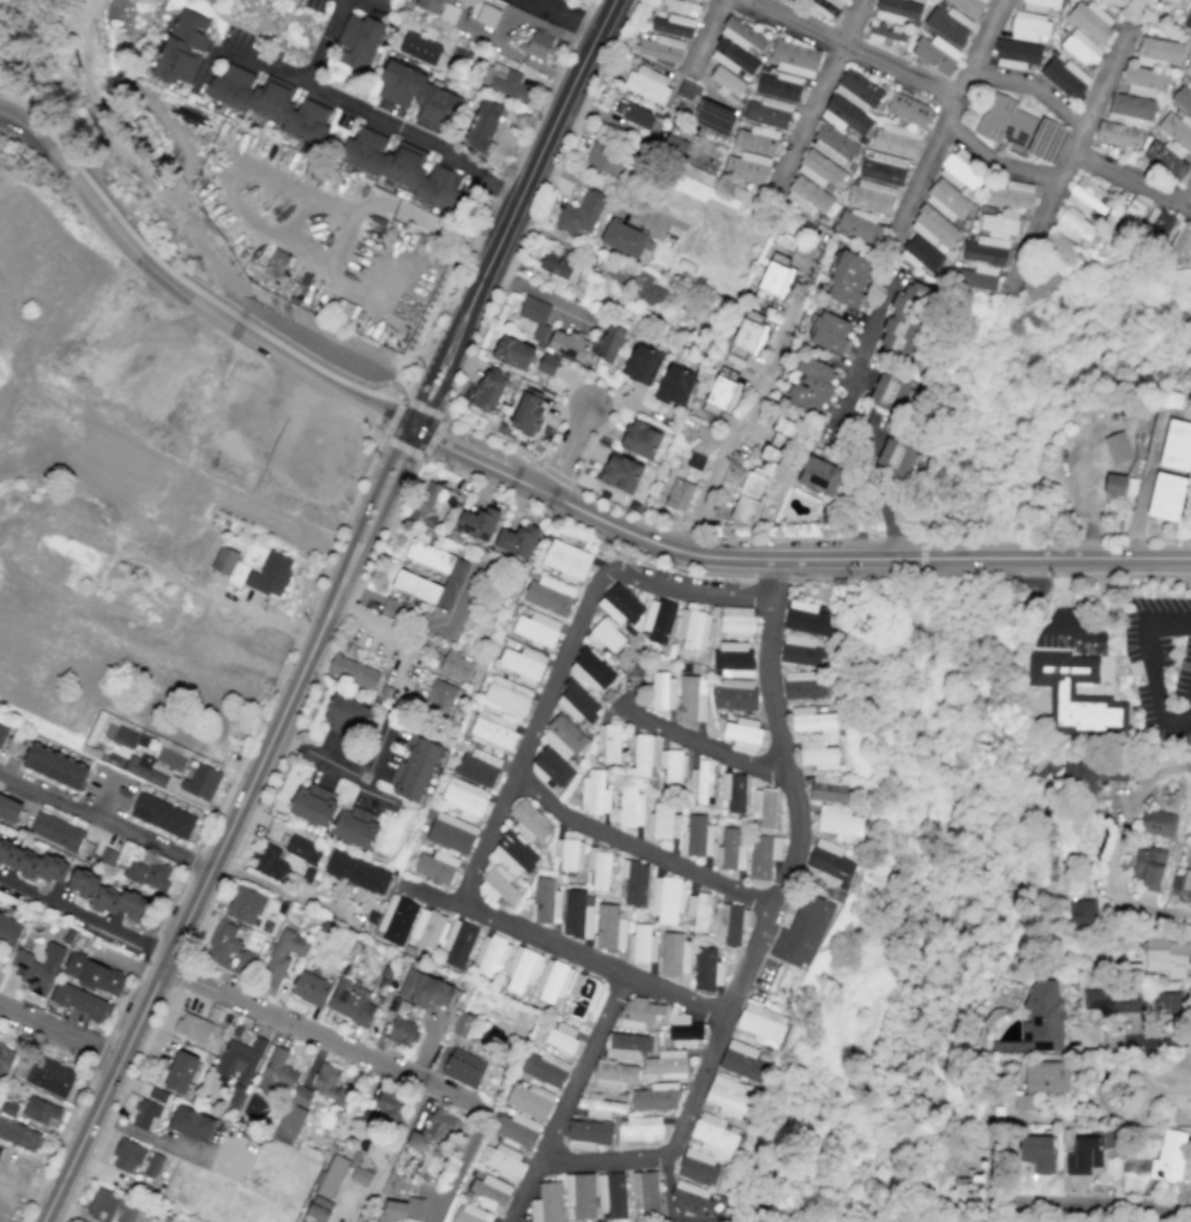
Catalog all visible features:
building: (385, 0)
building: (431, 5)
road: (560, 5)
building: (1039, 5)
building: (824, 6)
building: (968, 6)
building: (680, 7)
parking lot: (542, 8)
building: (896, 10)
building: (449, 12)
road: (566, 14)
building: (1090, 20)
building: (1187, 23)
building: (949, 24)
building: (674, 25)
road: (500, 28)
building: (1029, 28)
road: (706, 32)
building: (883, 32)
building: (742, 35)
road: (325, 41)
building: (359, 42)
building: (537, 44)
road: (850, 46)
building: (182, 47)
building: (1081, 47)
building: (420, 48)
building: (660, 49)
building: (1159, 52)
building: (936, 54)
building: (1016, 54)
building: (734, 58)
building: (795, 59)
road: (13, 70)
building: (1186, 71)
building: (1065, 78)
road: (819, 80)
building: (504, 82)
building: (1144, 82)
building: (648, 84)
building: (727, 84)
building: (780, 86)
road: (1037, 88)
road: (1102, 88)
building: (858, 90)
building: (417, 96)
building: (1183, 98)
road: (20, 101)
building: (270, 103)
road: (350, 104)
road: (946, 104)
building: (1131, 106)
road: (1, 109)
building: (908, 109)
building: (769, 113)
building: (634, 114)
building: (846, 115)
building: (714, 118)
building: (1121, 119)
building: (1004, 121)
building: (483, 126)
building: (1175, 130)
building: (1118, 134)
building: (756, 139)
building: (896, 140)
building: (1047, 140)
building: (676, 144)
building: (834, 144)
road: (545, 145)
building: (604, 158)
building: (1165, 158)
road: (998, 164)
building: (401, 168)
building: (746, 168)
building: (820, 169)
building: (883, 169)
building: (960, 173)
road: (1137, 183)
road: (607, 191)
building: (705, 194)
building: (1012, 194)
building: (870, 195)
building: (811, 198)
building: (1088, 198)
road: (494, 200)
building: (946, 200)
road: (540, 210)
building: (581, 213)
building: (1129, 218)
road: (420, 219)
building: (998, 223)
building: (858, 224)
road: (1035, 224)
building: (1156, 225)
building: (1077, 227)
building: (933, 228)
building: (624, 237)
building: (1180, 242)
building: (1059, 249)
building: (985, 251)
building: (920, 254)
building: (557, 261)
building: (978, 277)
road: (178, 278)
building: (775, 278)
building: (848, 279)
building: (1040, 282)
building: (637, 284)
road: (200, 288)
road: (181, 295)
building: (535, 315)
building: (904, 318)
building: (829, 332)
building: (746, 341)
building: (608, 343)
building: (569, 344)
building: (512, 353)
road: (437, 356)
road: (452, 363)
building: (547, 365)
building: (642, 365)
building: (675, 385)
building: (811, 386)
building: (488, 390)
building: (891, 391)
building: (722, 392)
road: (759, 399)
building: (528, 411)
road: (443, 419)
road: (859, 420)
road: (413, 428)
building: (640, 439)
building: (777, 441)
building: (1177, 445)
building: (1117, 447)
road: (570, 452)
road: (474, 458)
building: (896, 458)
building: (694, 460)
building: (620, 472)
road: (554, 474)
building: (819, 476)
building: (1114, 484)
road: (1144, 486)
road: (583, 494)
building: (679, 494)
building: (748, 496)
building: (1166, 496)
road: (369, 502)
building: (425, 504)
road: (383, 508)
building: (477, 523)
building: (517, 540)
road: (973, 543)
road: (1093, 543)
building: (429, 555)
road: (972, 558)
road: (1093, 558)
road: (730, 559)
road: (921, 559)
building: (223, 560)
building: (566, 560)
road: (674, 567)
road: (1093, 573)
building: (270, 574)
road: (972, 574)
building: (451, 584)
building: (416, 586)
road: (1063, 594)
building: (549, 595)
building: (620, 604)
road: (259, 613)
building: (805, 618)
building: (658, 620)
building: (736, 622)
road: (432, 624)
building: (536, 628)
building: (692, 628)
road: (1069, 631)
parking lot: (1069, 632)
building: (604, 636)
road: (290, 644)
building: (802, 650)
building: (733, 658)
road: (563, 661)
building: (523, 664)
parking lot: (1160, 664)
building: (455, 667)
building: (591, 670)
road: (1151, 670)
building: (353, 672)
building: (804, 685)
building: (662, 691)
building: (1060, 691)
building: (733, 694)
building: (439, 697)
building: (506, 697)
building: (691, 699)
building: (577, 703)
road: (309, 710)
building: (345, 715)
building: (813, 721)
building: (493, 730)
building: (2, 733)
building: (741, 733)
building: (564, 736)
building: (608, 741)
road: (710, 751)
building: (640, 753)
building: (817, 754)
road: (320, 758)
building: (54, 765)
building: (479, 766)
building: (672, 766)
building: (414, 767)
building: (551, 767)
building: (145, 770)
building: (1039, 770)
building: (1091, 775)
building: (200, 782)
building: (700, 783)
building: (828, 789)
building: (594, 791)
building: (733, 791)
road: (790, 796)
building: (464, 797)
building: (313, 805)
building: (628, 806)
building: (763, 806)
building: (10, 808)
building: (162, 815)
road: (104, 817)
building: (529, 820)
building: (662, 821)
building: (1156, 821)
building: (840, 823)
building: (355, 827)
building: (449, 832)
building: (60, 835)
building: (698, 836)
building: (302, 849)
road: (634, 850)
building: (729, 850)
building: (513, 854)
building: (569, 854)
building: (763, 855)
building: (269, 861)
building: (830, 861)
building: (32, 862)
road: (194, 862)
building: (435, 867)
building: (598, 867)
building: (1148, 867)
building: (356, 872)
building: (150, 874)
building: (1186, 875)
road: (1113, 879)
building: (634, 881)
building: (498, 885)
building: (107, 896)
building: (666, 898)
building: (546, 901)
road: (192, 903)
building: (245, 904)
building: (698, 911)
building: (1082, 913)
road: (84, 914)
building: (577, 914)
building: (396, 920)
building: (730, 923)
building: (427, 928)
building: (608, 928)
building: (8, 929)
building: (802, 932)
building: (458, 943)
building: (640, 944)
building: (228, 949)
building: (674, 953)
building: (489, 955)
road: (150, 956)
building: (282, 956)
building: (1168, 956)
road: (591, 962)
building: (521, 968)
building: (38, 969)
building: (706, 969)
building: (94, 974)
road: (179, 974)
building: (551, 980)
building: (309, 988)
building: (423, 989)
building: (583, 995)
building: (1113, 1000)
building: (80, 1001)
building: (350, 1001)
building: (1166, 1003)
building: (639, 1012)
building: (1039, 1019)
building: (462, 1024)
building: (764, 1024)
building: (193, 1027)
building: (684, 1030)
building: (402, 1031)
road: (56, 1036)
road: (320, 1039)
building: (561, 1039)
road: (1131, 1039)
building: (626, 1045)
road: (103, 1048)
building: (5, 1058)
building: (742, 1061)
road: (96, 1063)
building: (666, 1064)
building: (237, 1067)
building: (463, 1067)
building: (545, 1069)
building: (181, 1072)
building: (276, 1072)
building: (614, 1074)
building: (49, 1076)
building: (1046, 1076)
building: (329, 1084)
road: (1157, 1089)
building: (728, 1096)
building: (656, 1097)
road: (566, 1098)
building: (529, 1100)
building: (389, 1103)
road: (116, 1104)
building: (598, 1106)
building: (255, 1108)
building: (41, 1110)
building: (145, 1114)
building: (293, 1114)
building: (192, 1124)
road: (408, 1124)
building: (517, 1128)
building: (640, 1128)
building: (434, 1130)
building: (18, 1134)
building: (587, 1134)
building: (712, 1134)
road: (56, 1144)
road: (670, 1150)
building: (1037, 1152)
building: (127, 1155)
building: (1083, 1156)
building: (1166, 1157)
building: (501, 1160)
building: (152, 1166)
building: (698, 1167)
parking lot: (10, 1175)
building: (360, 1176)
road: (26, 1179)
building: (968, 1182)
road: (5, 1184)
building: (489, 1191)
building: (644, 1193)
building: (581, 1194)
building: (612, 1194)
building: (688, 1198)
road: (1095, 1202)
building: (547, 1203)
building: (116, 1208)
building: (317, 1210)
building: (402, 1210)
road: (70, 1211)
building: (470, 1214)

